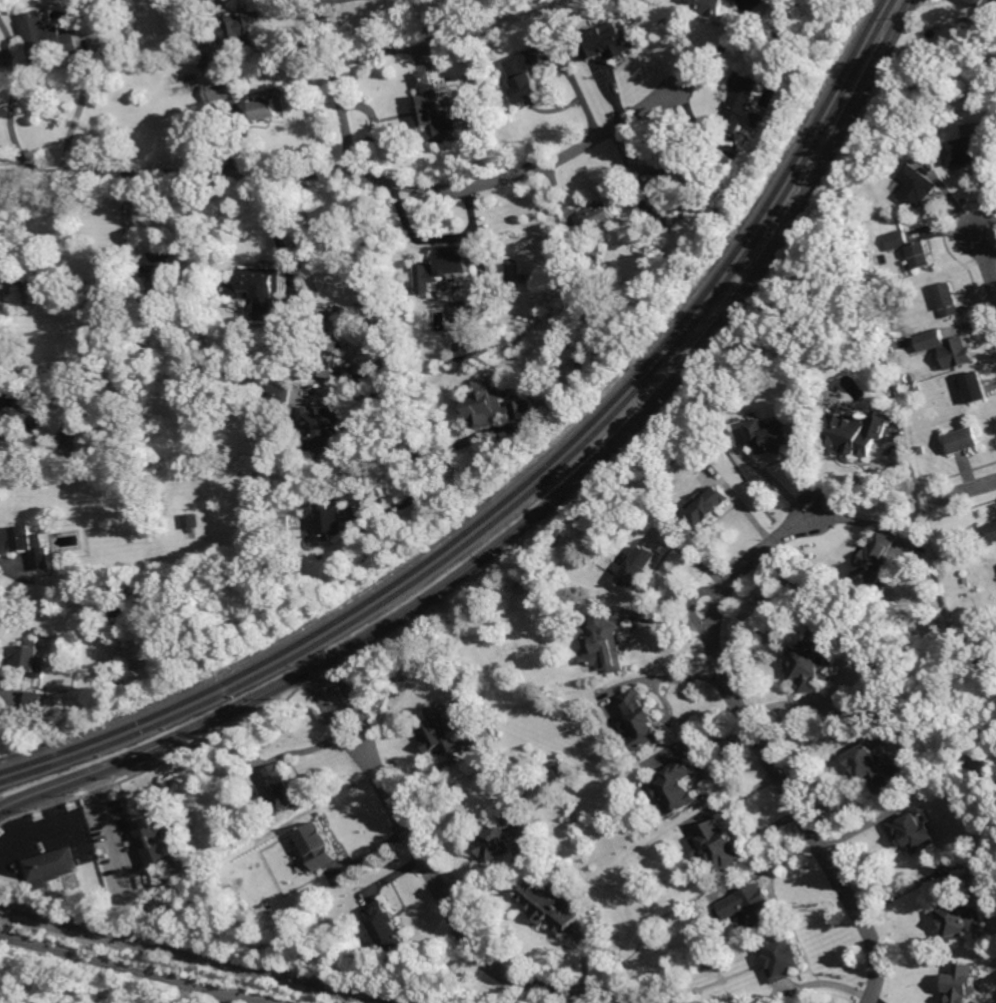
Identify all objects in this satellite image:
road: (927, 2)
building: (986, 2)
building: (715, 7)
building: (249, 23)
road: (200, 24)
building: (612, 39)
building: (49, 41)
road: (719, 51)
building: (212, 68)
building: (530, 79)
building: (220, 92)
road: (12, 98)
building: (742, 100)
building: (273, 106)
building: (436, 111)
road: (77, 113)
building: (966, 150)
road: (351, 175)
building: (919, 185)
building: (662, 190)
building: (601, 216)
road: (994, 237)
building: (899, 240)
building: (871, 247)
road: (373, 249)
building: (922, 255)
road: (989, 262)
building: (592, 264)
building: (444, 268)
building: (166, 274)
building: (28, 287)
building: (261, 290)
building: (86, 296)
building: (3, 299)
building: (950, 299)
building: (462, 311)
building: (143, 320)
building: (932, 338)
building: (330, 341)
building: (2, 351)
building: (464, 352)
building: (963, 352)
building: (147, 362)
building: (977, 386)
building: (280, 392)
building: (18, 400)
building: (494, 406)
building: (223, 415)
building: (71, 425)
building: (323, 428)
building: (857, 431)
building: (774, 436)
road: (24, 437)
building: (967, 439)
railway: (528, 484)
railway: (534, 490)
road: (959, 493)
building: (709, 505)
road: (549, 506)
building: (136, 511)
building: (191, 521)
building: (334, 521)
building: (281, 522)
building: (990, 534)
building: (31, 543)
building: (875, 562)
road: (2, 563)
building: (639, 568)
building: (969, 580)
building: (606, 646)
building: (578, 649)
building: (33, 658)
building: (811, 663)
road: (4, 688)
building: (35, 699)
building: (644, 719)
building: (446, 731)
park: (988, 735)
road: (762, 741)
building: (872, 768)
building: (558, 771)
building: (285, 787)
building: (678, 787)
road: (109, 824)
building: (914, 831)
building: (503, 836)
building: (159, 841)
building: (317, 846)
building: (720, 846)
building: (53, 867)
road: (436, 874)
building: (752, 904)
building: (549, 906)
building: (955, 911)
building: (387, 927)
railway: (193, 955)
building: (784, 959)
building: (714, 965)
road: (145, 971)
building: (963, 982)
road: (283, 1002)

